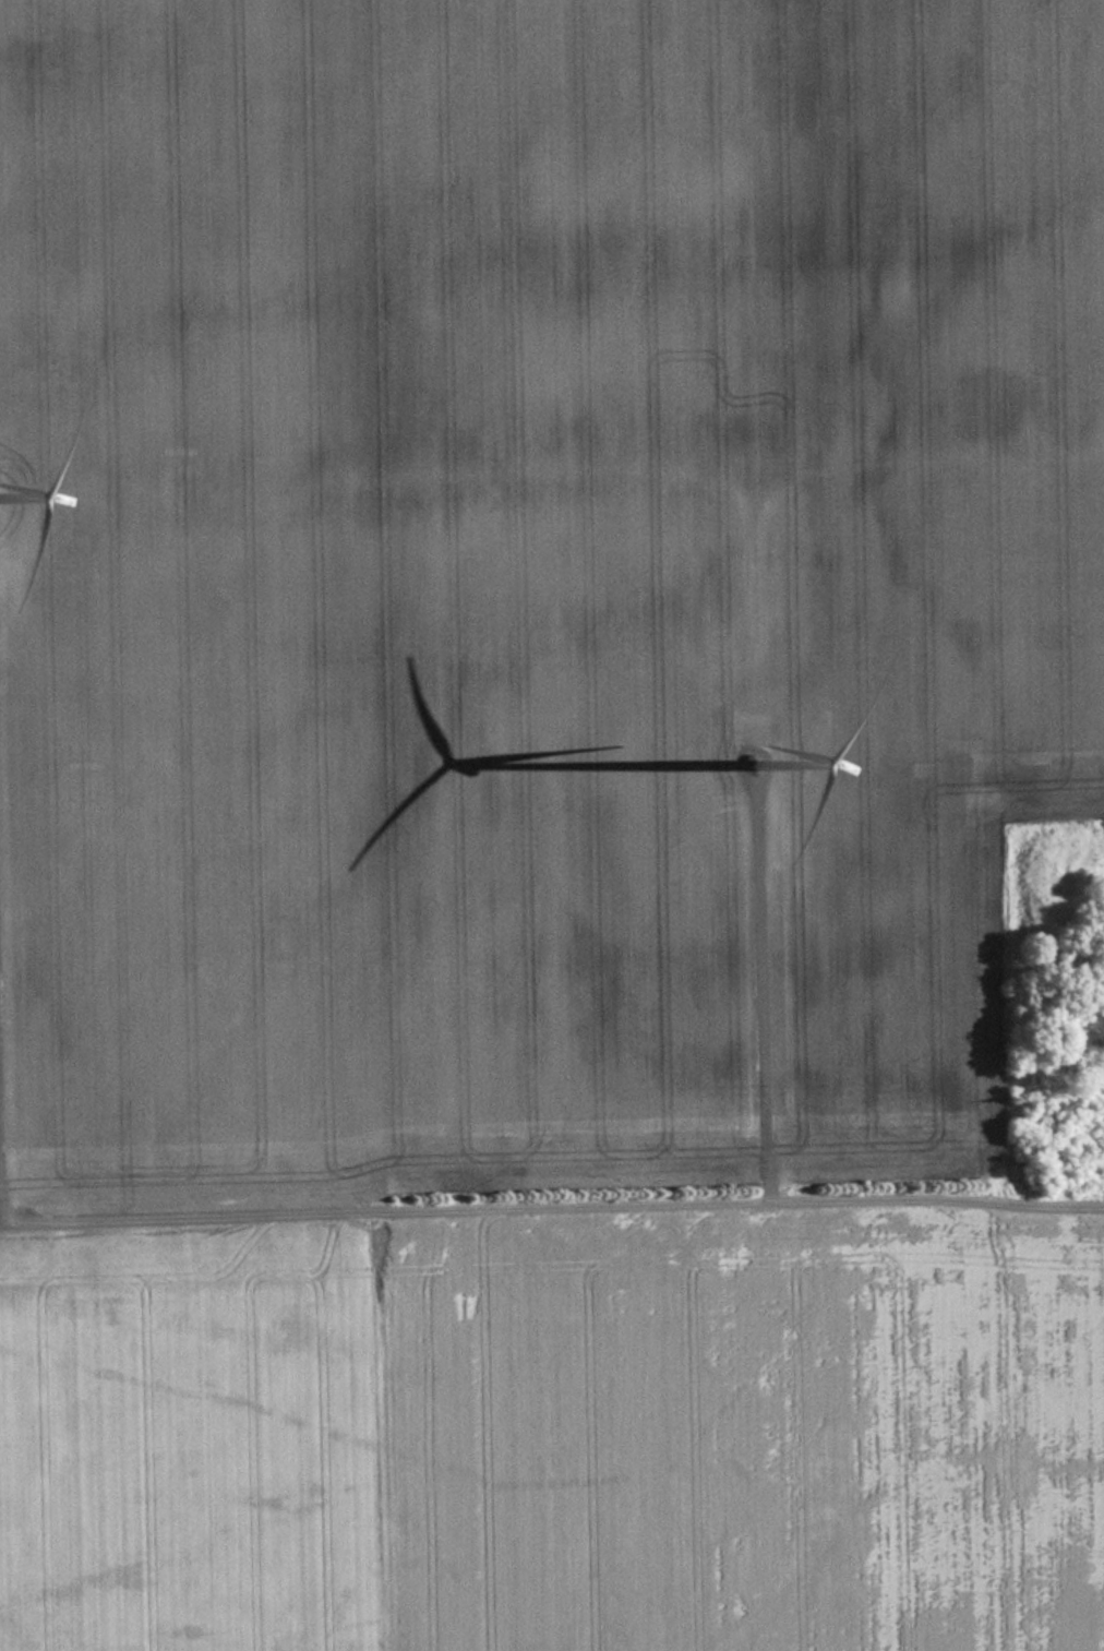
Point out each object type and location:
wind turbine: (753, 735)
road: (771, 989)
road: (525, 1198)

